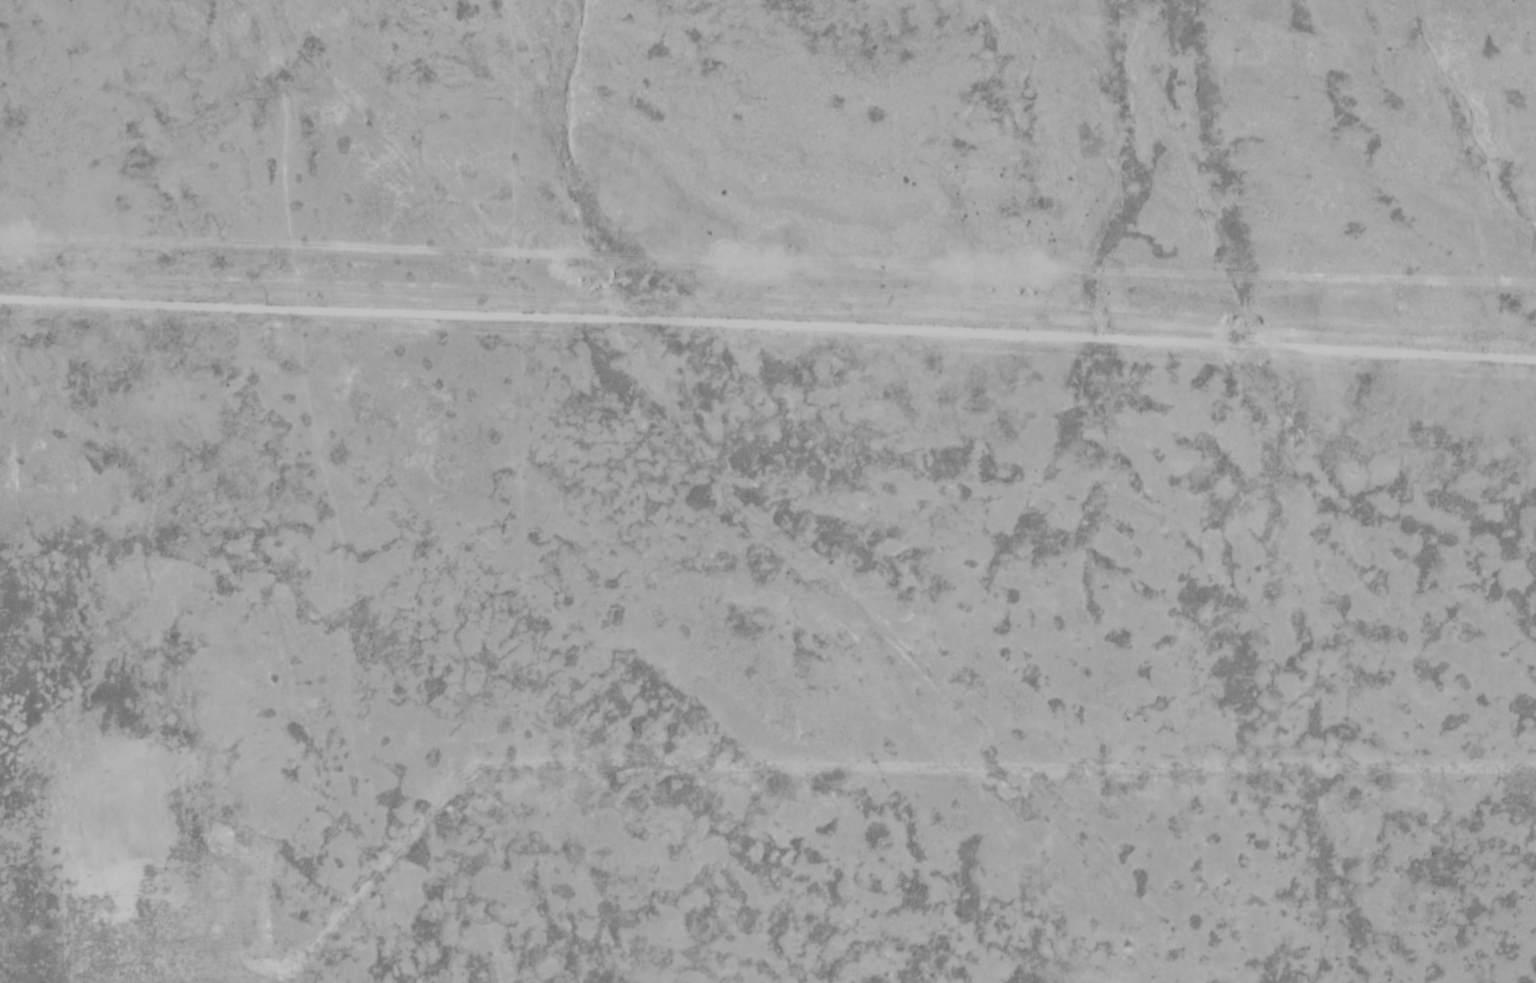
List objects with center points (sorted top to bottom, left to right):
road: (768, 335)

